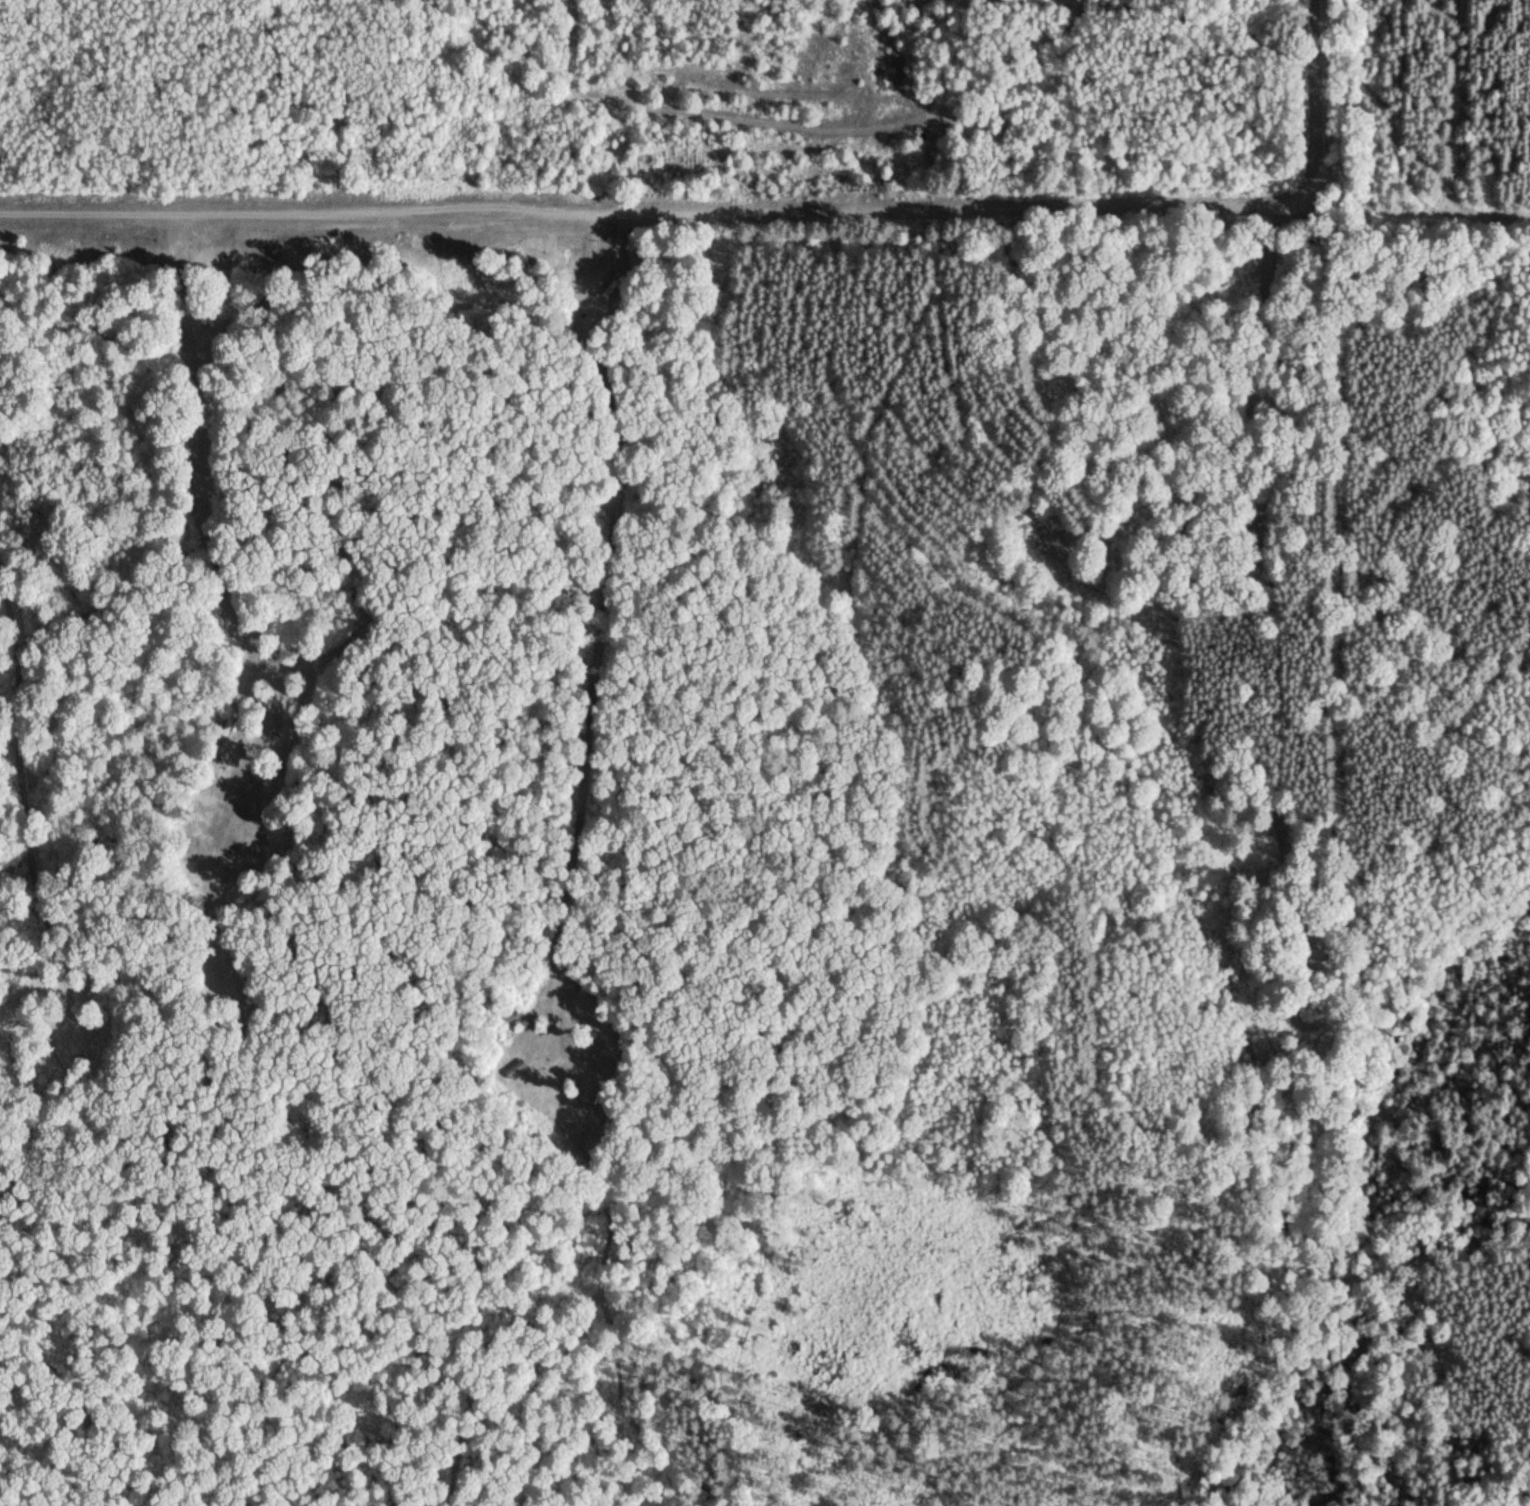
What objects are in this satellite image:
road: (1319, 88)
road: (663, 211)
building: (607, 281)
road: (478, 1382)

